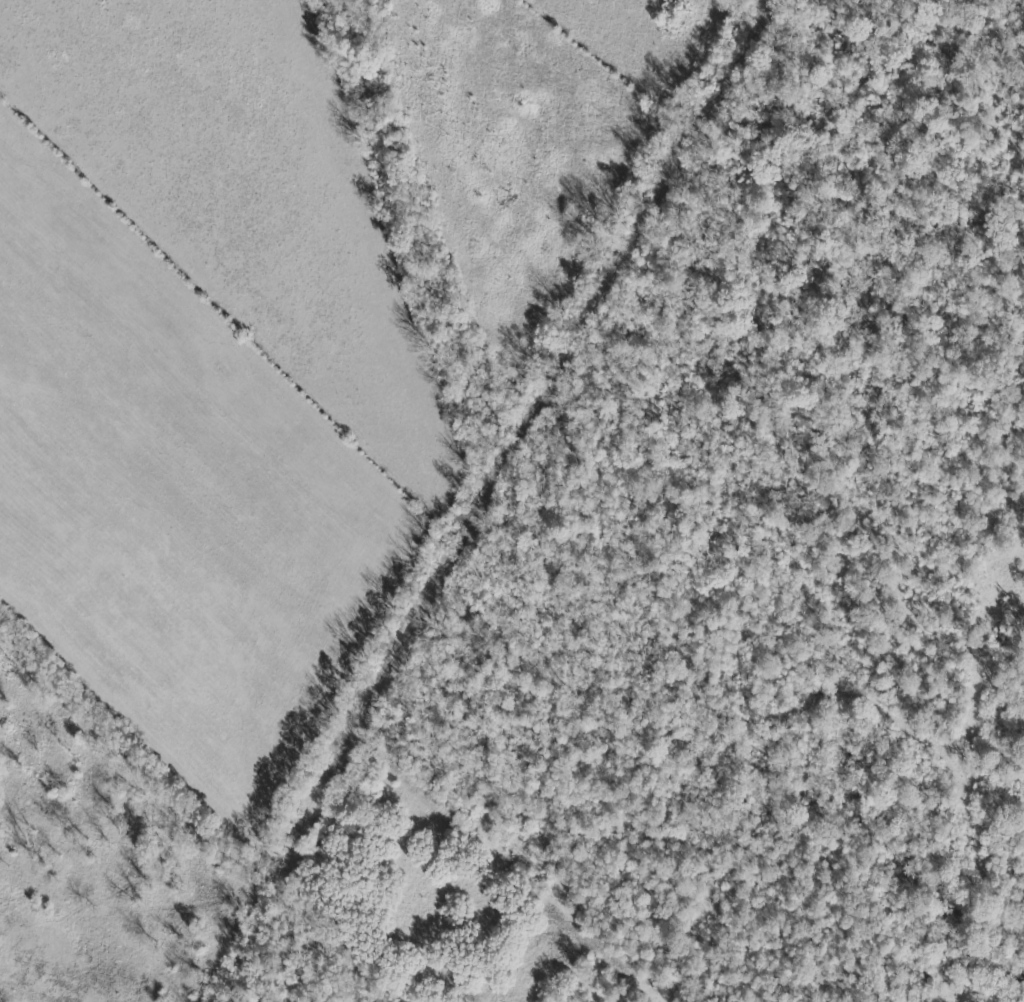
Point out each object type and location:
road: (250, 836)

